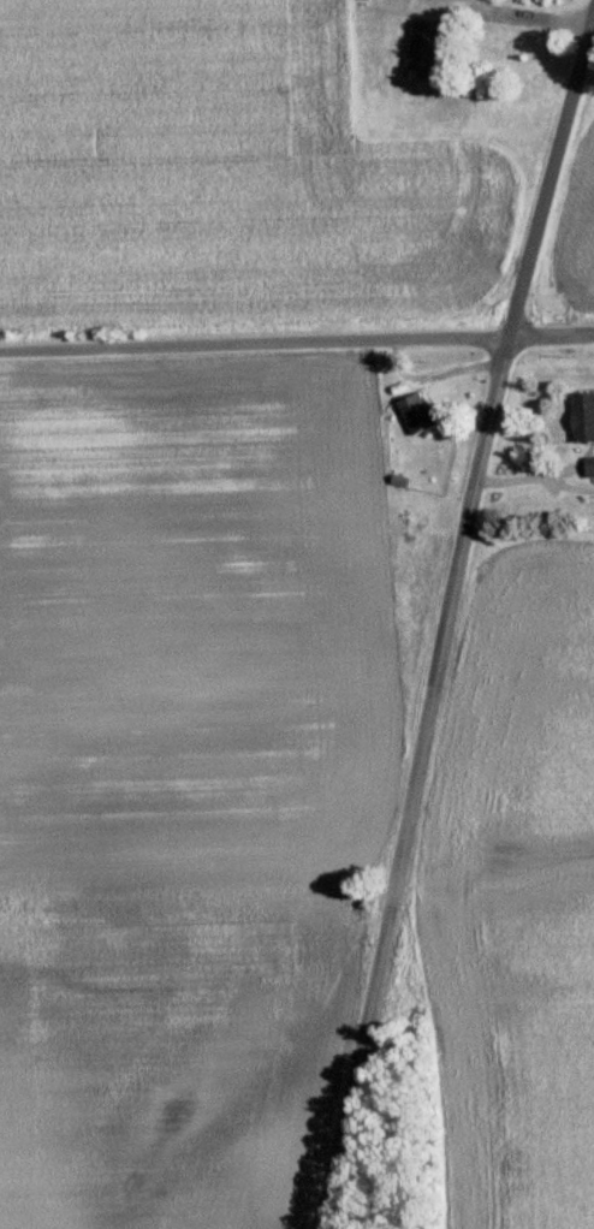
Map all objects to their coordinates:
building: (420, 47)
road: (546, 339)
road: (249, 349)
building: (414, 412)
building: (582, 415)
building: (588, 465)
road: (440, 613)

